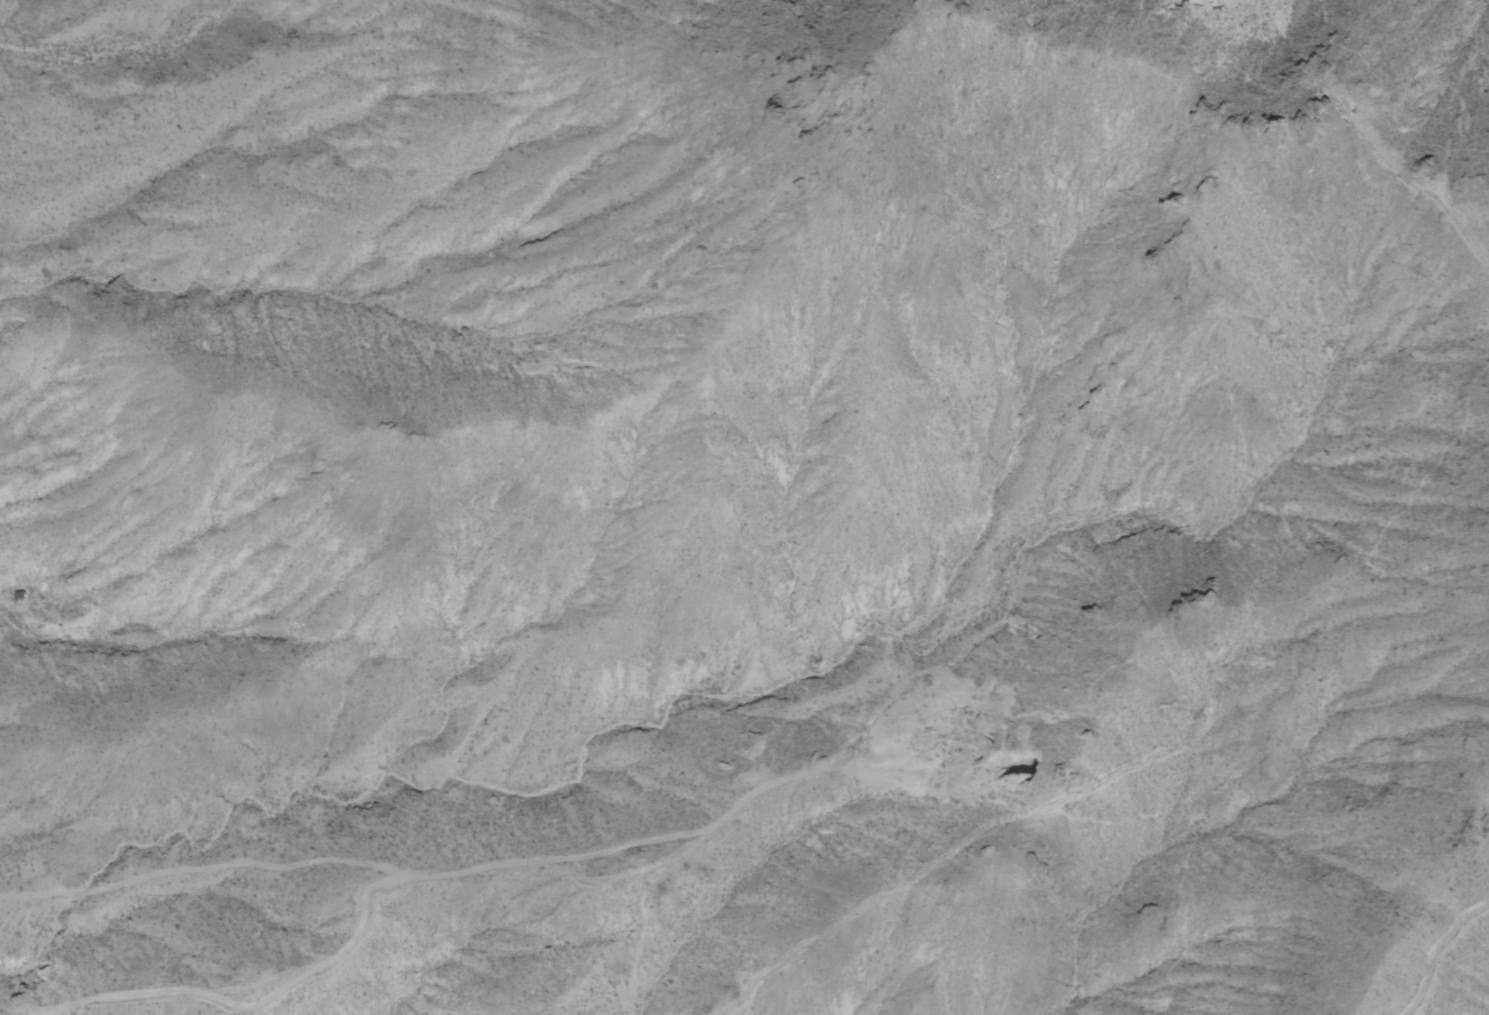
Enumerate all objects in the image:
road: (708, 828)
road: (373, 877)
road: (338, 956)
road: (1448, 973)
road: (139, 1009)

